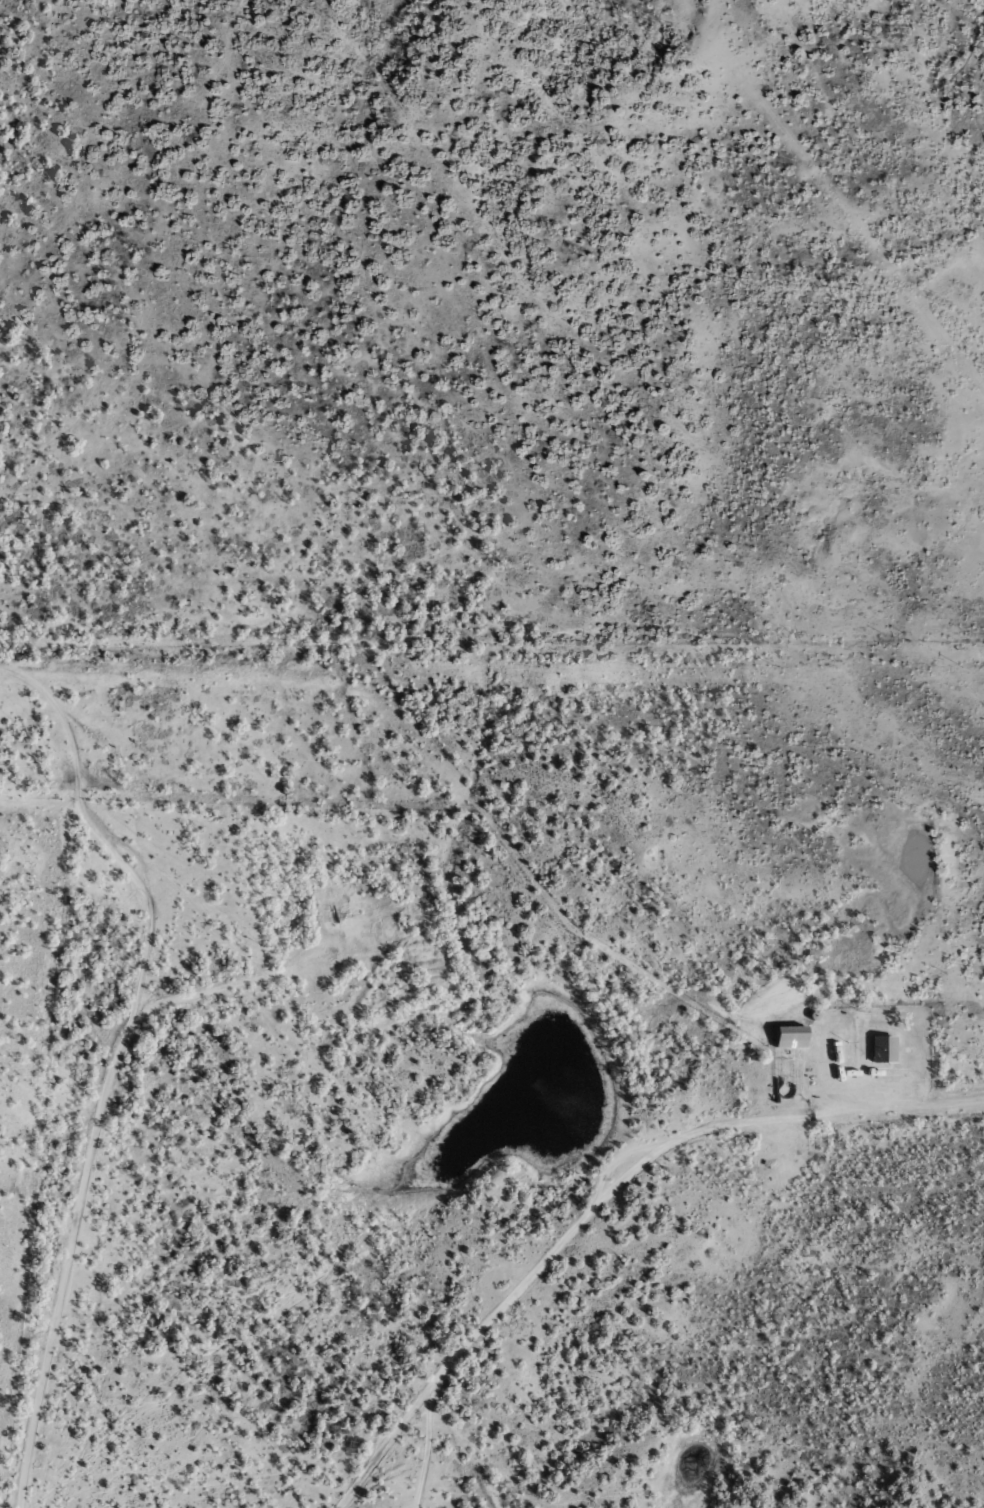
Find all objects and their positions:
building: (796, 1034)
building: (888, 1047)
road: (101, 1083)
road: (613, 1209)

